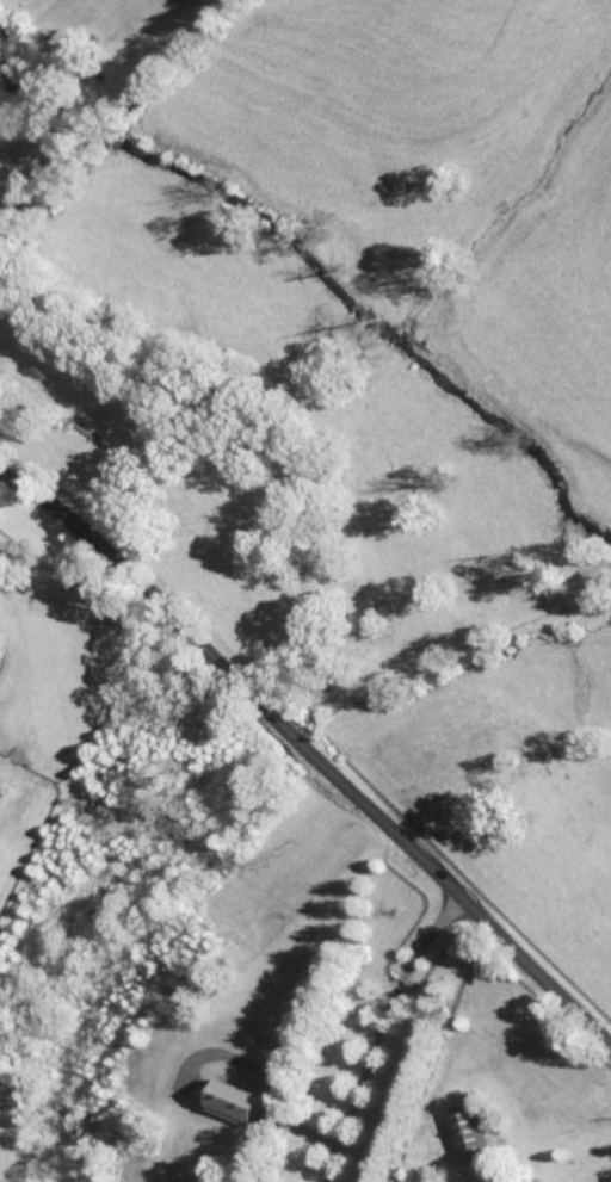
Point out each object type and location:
road: (310, 754)
road: (379, 1034)
building: (232, 1102)
building: (468, 1132)

